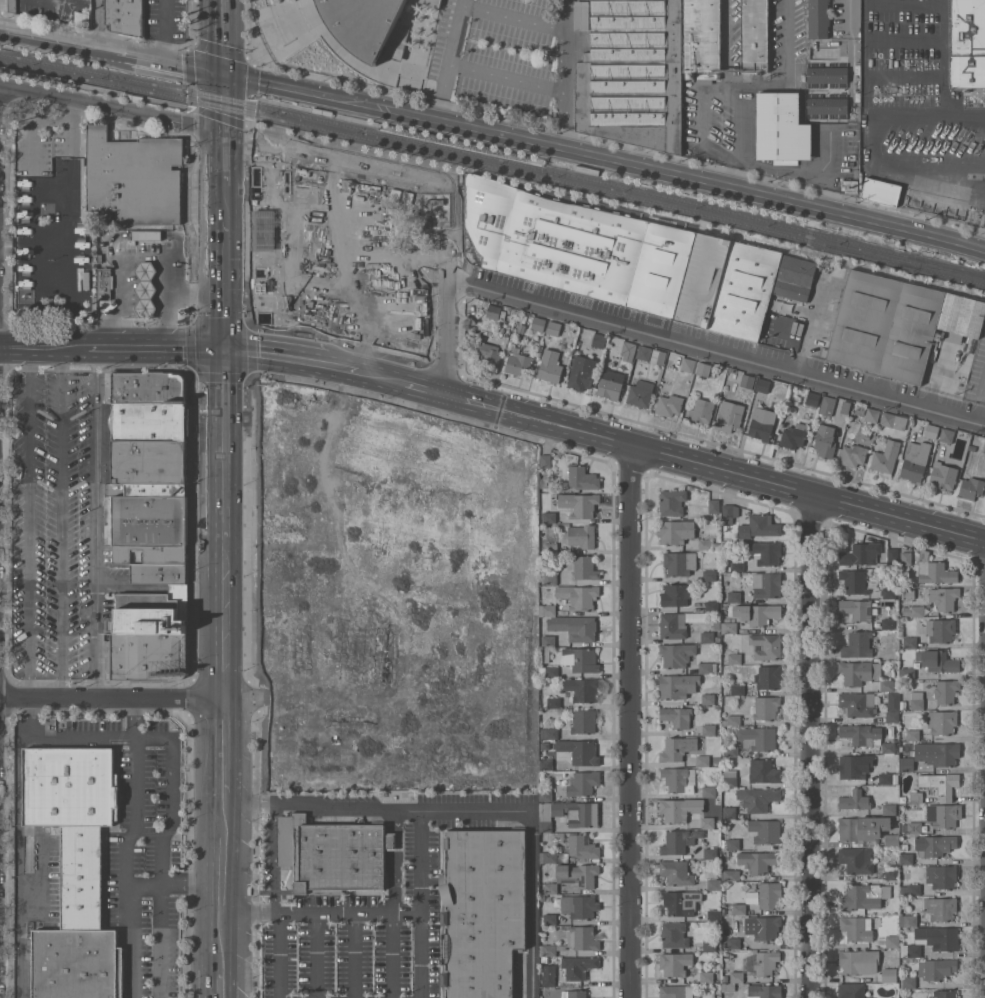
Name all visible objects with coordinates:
building: (431, 2)
road: (905, 2)
building: (12, 5)
building: (853, 12)
building: (580, 15)
building: (125, 17)
building: (81, 18)
building: (818, 18)
road: (99, 21)
building: (365, 25)
road: (163, 28)
road: (221, 34)
building: (754, 35)
building: (701, 36)
road: (906, 38)
building: (576, 41)
building: (967, 44)
road: (110, 45)
parking lot: (502, 54)
road: (944, 57)
road: (447, 58)
traffic signals: (221, 68)
building: (827, 72)
road: (566, 73)
road: (787, 73)
building: (633, 74)
road: (506, 77)
building: (707, 77)
railway: (72, 82)
road: (221, 100)
building: (828, 105)
road: (699, 108)
road: (110, 109)
building: (781, 128)
road: (739, 129)
traffic signals: (222, 133)
road: (222, 154)
road: (603, 156)
railway: (493, 158)
road: (868, 158)
road: (738, 163)
railway: (494, 166)
railway: (545, 166)
road: (983, 167)
building: (134, 176)
building: (849, 185)
building: (881, 191)
road: (71, 202)
road: (223, 207)
building: (165, 226)
building: (160, 229)
road: (32, 230)
building: (147, 235)
building: (576, 246)
building: (100, 258)
railway: (904, 260)
building: (419, 267)
road: (167, 271)
building: (795, 277)
building: (104, 283)
road: (123, 286)
building: (728, 286)
building: (146, 288)
road: (223, 295)
building: (493, 311)
road: (812, 322)
building: (538, 323)
building: (897, 324)
building: (553, 327)
road: (445, 333)
building: (407, 338)
building: (599, 340)
building: (537, 345)
road: (38, 346)
road: (150, 348)
road: (715, 348)
building: (628, 350)
traffic signals: (223, 351)
building: (644, 352)
building: (489, 353)
building: (658, 356)
road: (298, 359)
building: (518, 362)
building: (688, 364)
building: (551, 366)
building: (703, 368)
building: (582, 372)
building: (747, 380)
road: (409, 383)
building: (611, 383)
building: (763, 385)
building: (148, 387)
building: (641, 393)
building: (812, 399)
building: (669, 404)
building: (828, 405)
road: (981, 406)
building: (860, 408)
building: (702, 410)
building: (872, 414)
building: (729, 416)
building: (150, 421)
building: (762, 423)
building: (891, 423)
road: (223, 427)
building: (931, 431)
building: (794, 435)
building: (947, 435)
building: (825, 442)
building: (984, 449)
building: (853, 455)
building: (886, 457)
building: (545, 460)
building: (915, 460)
building: (151, 466)
road: (714, 467)
building: (943, 475)
building: (582, 477)
building: (544, 483)
building: (971, 487)
building: (672, 501)
building: (584, 505)
building: (714, 505)
building: (729, 513)
building: (549, 516)
building: (147, 519)
road: (29, 522)
road: (62, 522)
road: (97, 523)
building: (760, 526)
building: (676, 530)
building: (580, 535)
building: (705, 543)
building: (551, 547)
building: (766, 552)
building: (152, 553)
building: (861, 553)
building: (892, 554)
building: (905, 558)
building: (679, 562)
building: (737, 565)
building: (584, 567)
building: (934, 570)
building: (158, 573)
building: (709, 574)
building: (550, 578)
building: (855, 581)
building: (767, 584)
building: (889, 592)
building: (675, 594)
building: (579, 595)
building: (734, 596)
building: (944, 597)
road: (223, 601)
building: (712, 606)
building: (856, 608)
building: (548, 609)
building: (913, 610)
building: (152, 611)
building: (757, 612)
building: (888, 623)
building: (717, 624)
building: (673, 625)
building: (575, 626)
building: (729, 627)
building: (940, 629)
building: (113, 632)
building: (709, 636)
building: (548, 640)
building: (910, 641)
building: (858, 644)
building: (766, 645)
building: (676, 654)
building: (543, 655)
building: (148, 656)
building: (734, 658)
building: (581, 659)
building: (937, 660)
building: (707, 667)
building: (549, 671)
building: (859, 671)
building: (906, 672)
building: (768, 676)
building: (889, 684)
building: (677, 685)
building: (581, 688)
building: (738, 689)
building: (946, 690)
building: (708, 698)
road: (132, 699)
building: (917, 700)
building: (553, 702)
building: (859, 703)
building: (765, 707)
building: (677, 716)
building: (892, 716)
road: (29, 717)
road: (136, 717)
building: (50, 720)
building: (732, 720)
building: (584, 721)
building: (942, 721)
road: (632, 722)
building: (709, 729)
building: (549, 733)
building: (860, 733)
building: (913, 734)
road: (100, 735)
building: (757, 737)
road: (812, 745)
building: (888, 746)
building: (677, 748)
building: (579, 751)
building: (731, 751)
road: (223, 753)
building: (937, 753)
building: (702, 760)
building: (545, 763)
building: (907, 763)
building: (854, 766)
building: (763, 771)
building: (730, 778)
building: (888, 778)
building: (679, 779)
building: (549, 782)
building: (583, 782)
building: (941, 783)
building: (708, 791)
building: (546, 795)
building: (916, 797)
building: (759, 798)
building: (855, 799)
road: (249, 805)
building: (680, 808)
building: (889, 808)
road: (401, 809)
building: (729, 812)
building: (569, 813)
building: (942, 815)
building: (74, 820)
building: (707, 822)
building: (862, 827)
building: (914, 827)
building: (765, 830)
building: (892, 839)
building: (679, 840)
building: (731, 843)
building: (934, 844)
road: (222, 845)
building: (580, 845)
building: (559, 848)
building: (710, 853)
building: (332, 854)
building: (548, 856)
building: (906, 858)
road: (274, 859)
building: (856, 859)
building: (725, 860)
building: (759, 860)
road: (128, 864)
building: (891, 871)
building: (677, 872)
building: (578, 874)
building: (731, 874)
building: (941, 876)
road: (192, 884)
building: (714, 884)
road: (145, 885)
building: (550, 887)
building: (910, 889)
building: (770, 894)
building: (864, 896)
road: (222, 898)
building: (681, 902)
road: (393, 903)
road: (420, 903)
building: (904, 904)
building: (578, 905)
building: (738, 908)
building: (940, 908)
building: (483, 910)
road: (249, 913)
road: (348, 913)
building: (713, 914)
road: (531, 915)
building: (550, 918)
building: (907, 919)
building: (767, 927)
building: (856, 927)
building: (674, 934)
building: (938, 937)
building: (574, 941)
building: (892, 941)
road: (222, 942)
building: (734, 942)
building: (709, 945)
building: (910, 950)
road: (281, 955)
road: (316, 955)
road: (354, 956)
building: (544, 959)
building: (859, 961)
building: (761, 962)
building: (77, 963)
building: (675, 963)
building: (577, 967)
building: (936, 968)
building: (889, 974)
building: (548, 975)
building: (706, 976)
building: (737, 976)
building: (908, 982)
road: (222, 984)
building: (728, 987)
building: (854, 990)
building: (676, 991)
building: (764, 991)
building: (944, 993)
building: (574, 994)
building: (895, 997)

